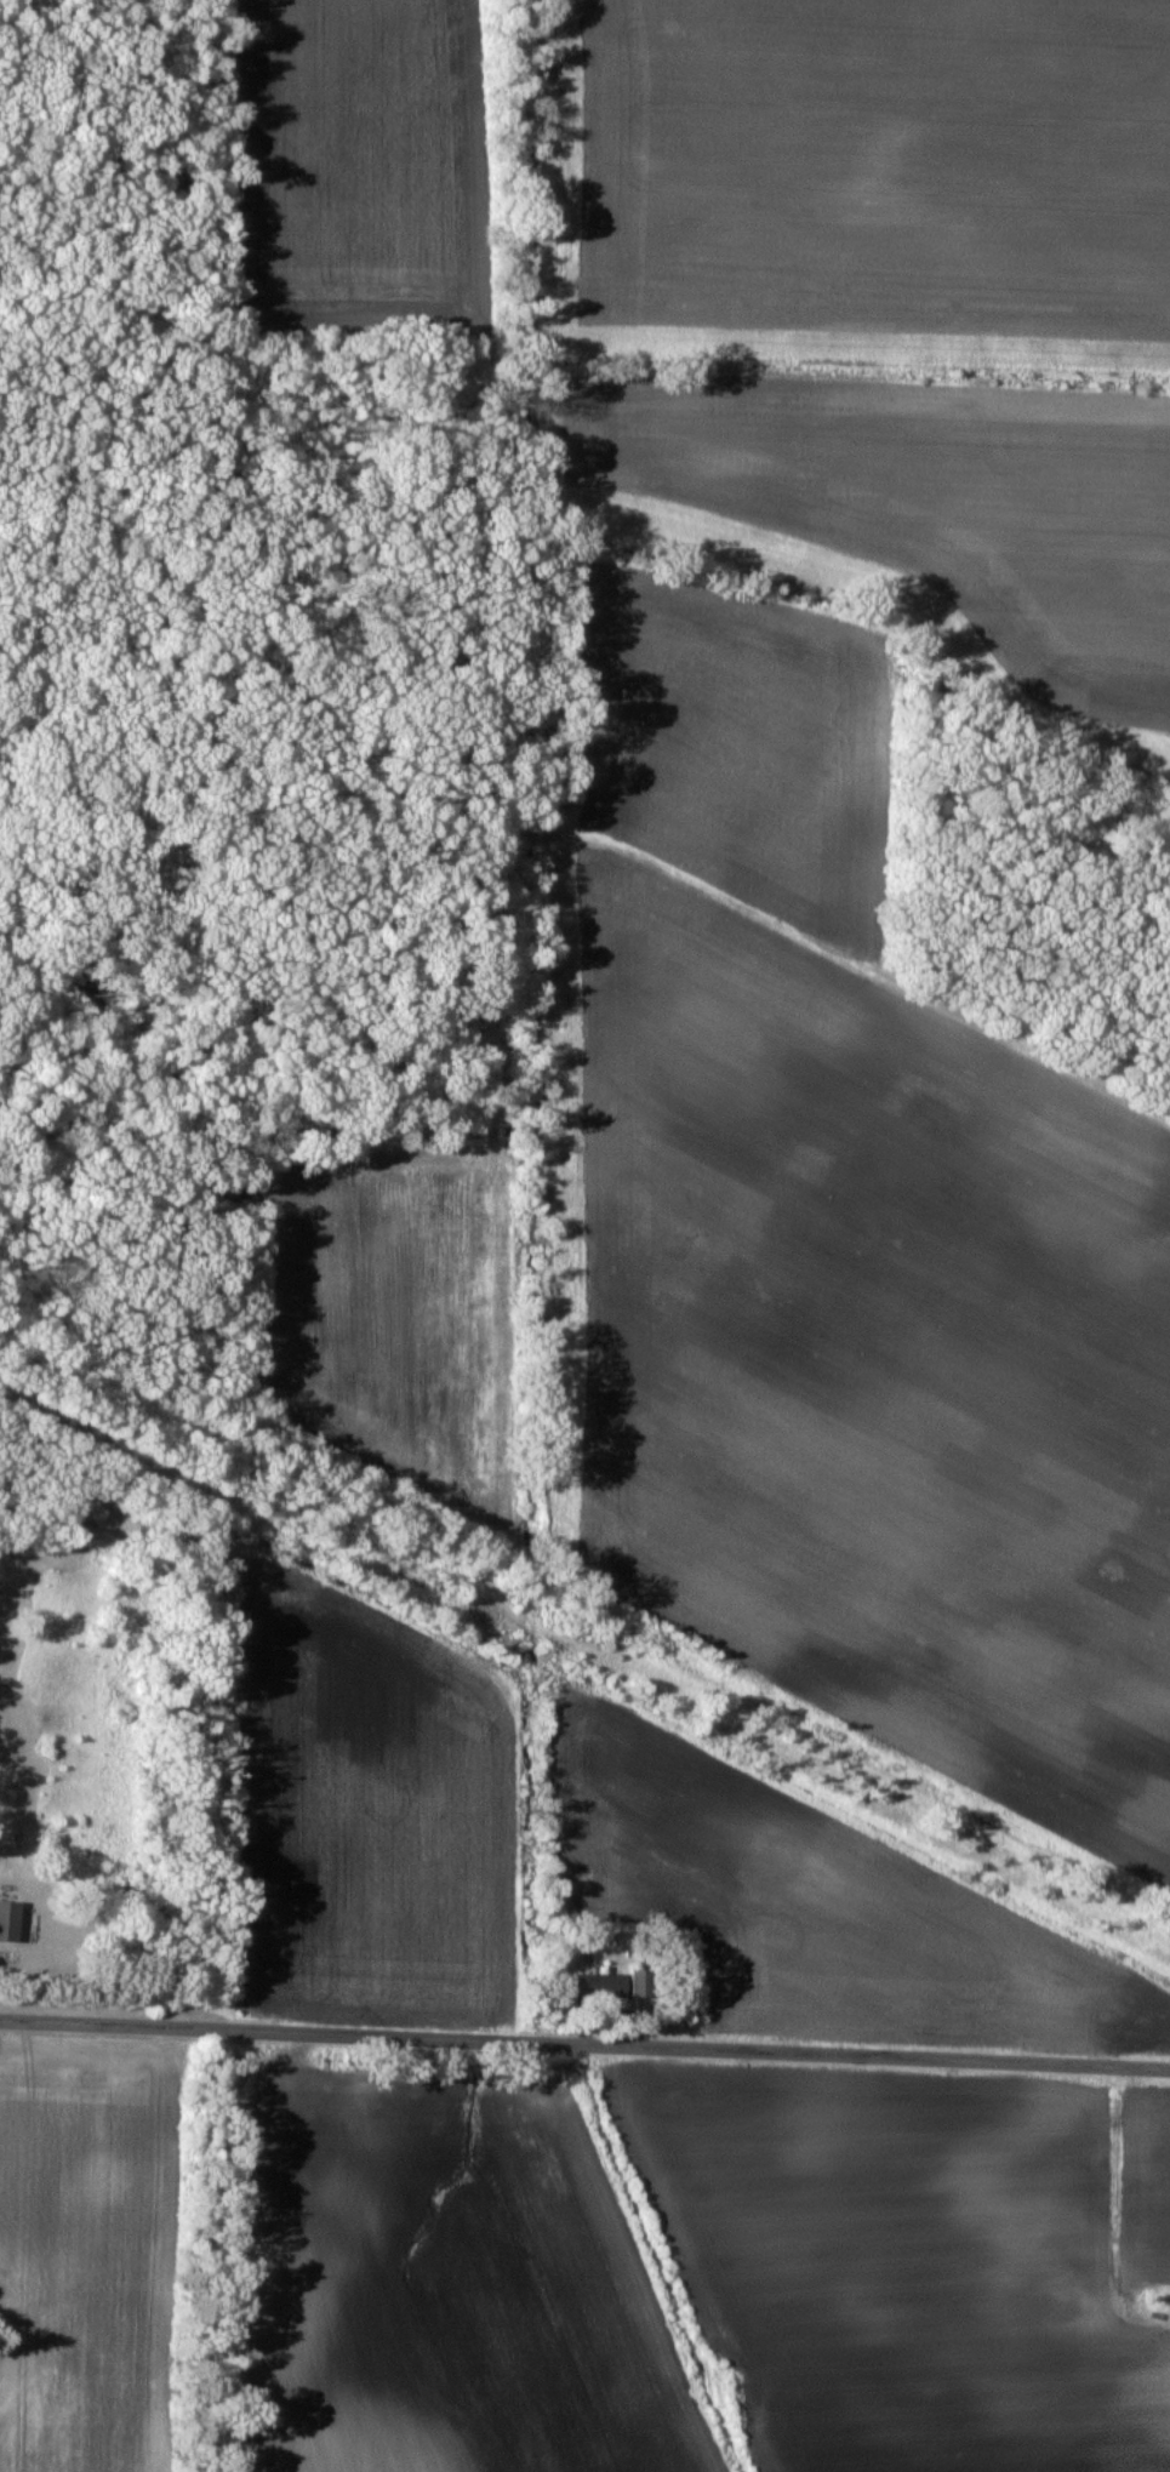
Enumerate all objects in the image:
building: (604, 1985)
road: (584, 2040)

